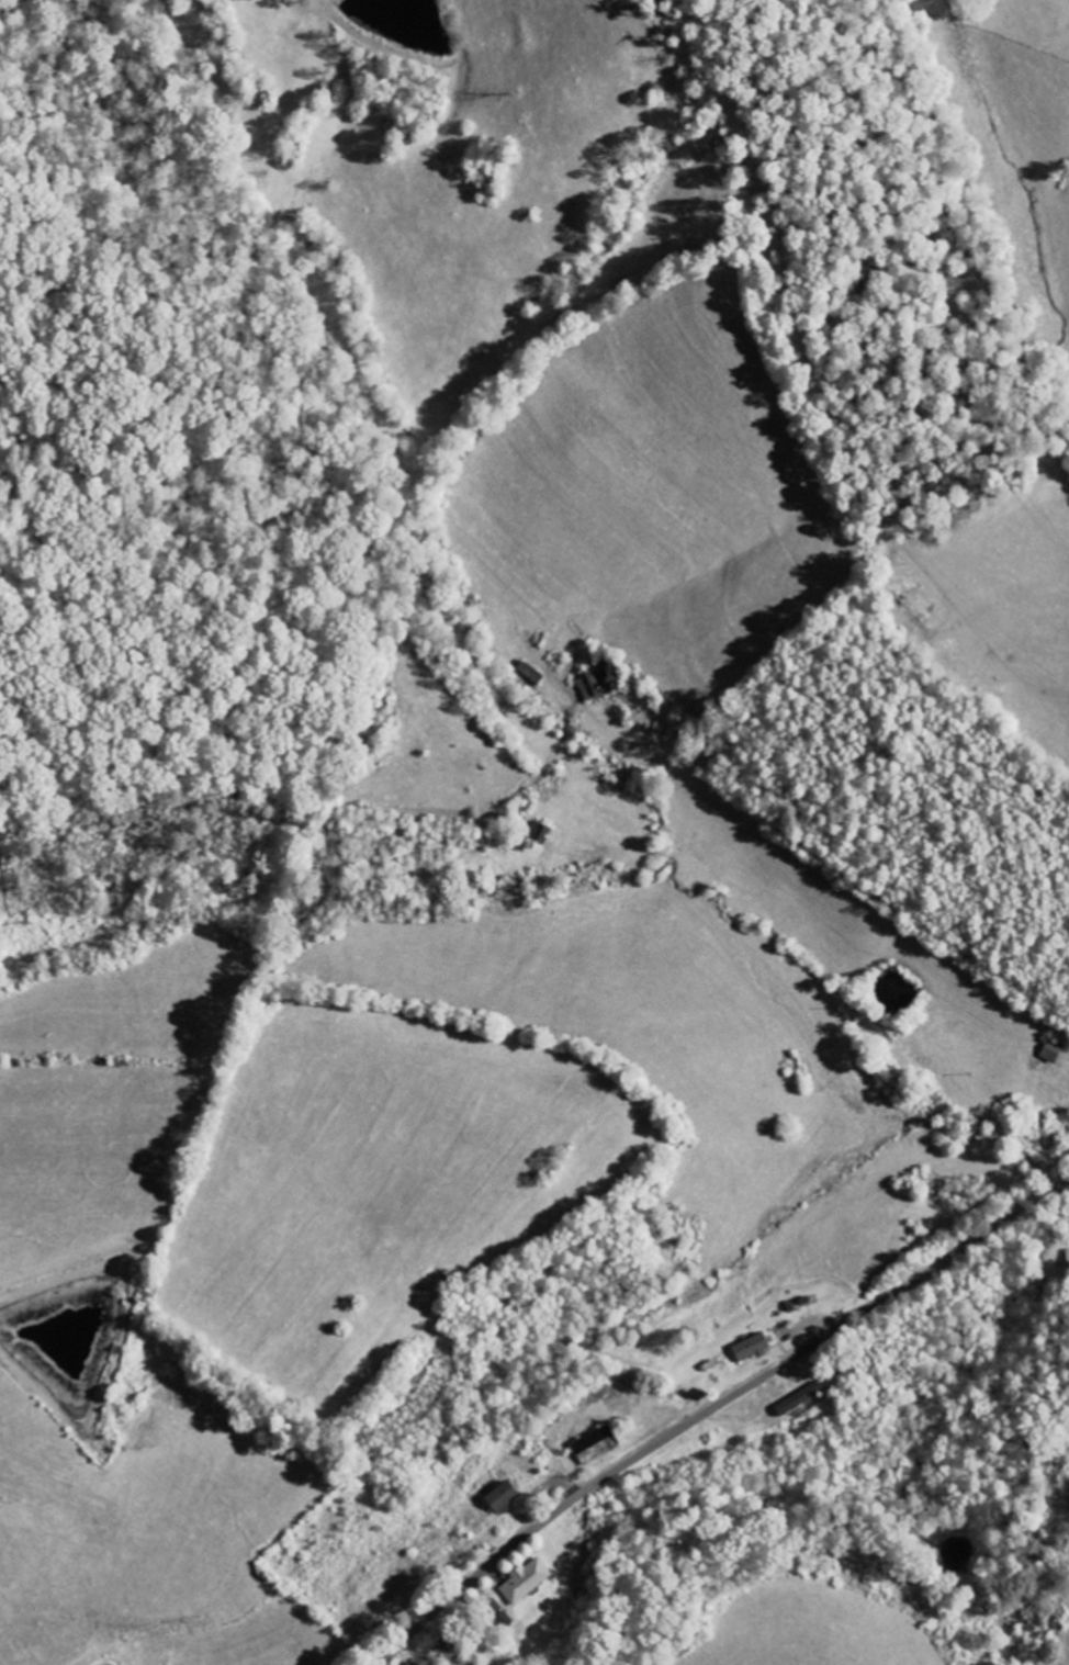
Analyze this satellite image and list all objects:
building: (1068, 1257)
building: (752, 1348)
building: (800, 1399)
road: (709, 1404)
building: (596, 1445)
building: (504, 1498)
building: (527, 1580)

